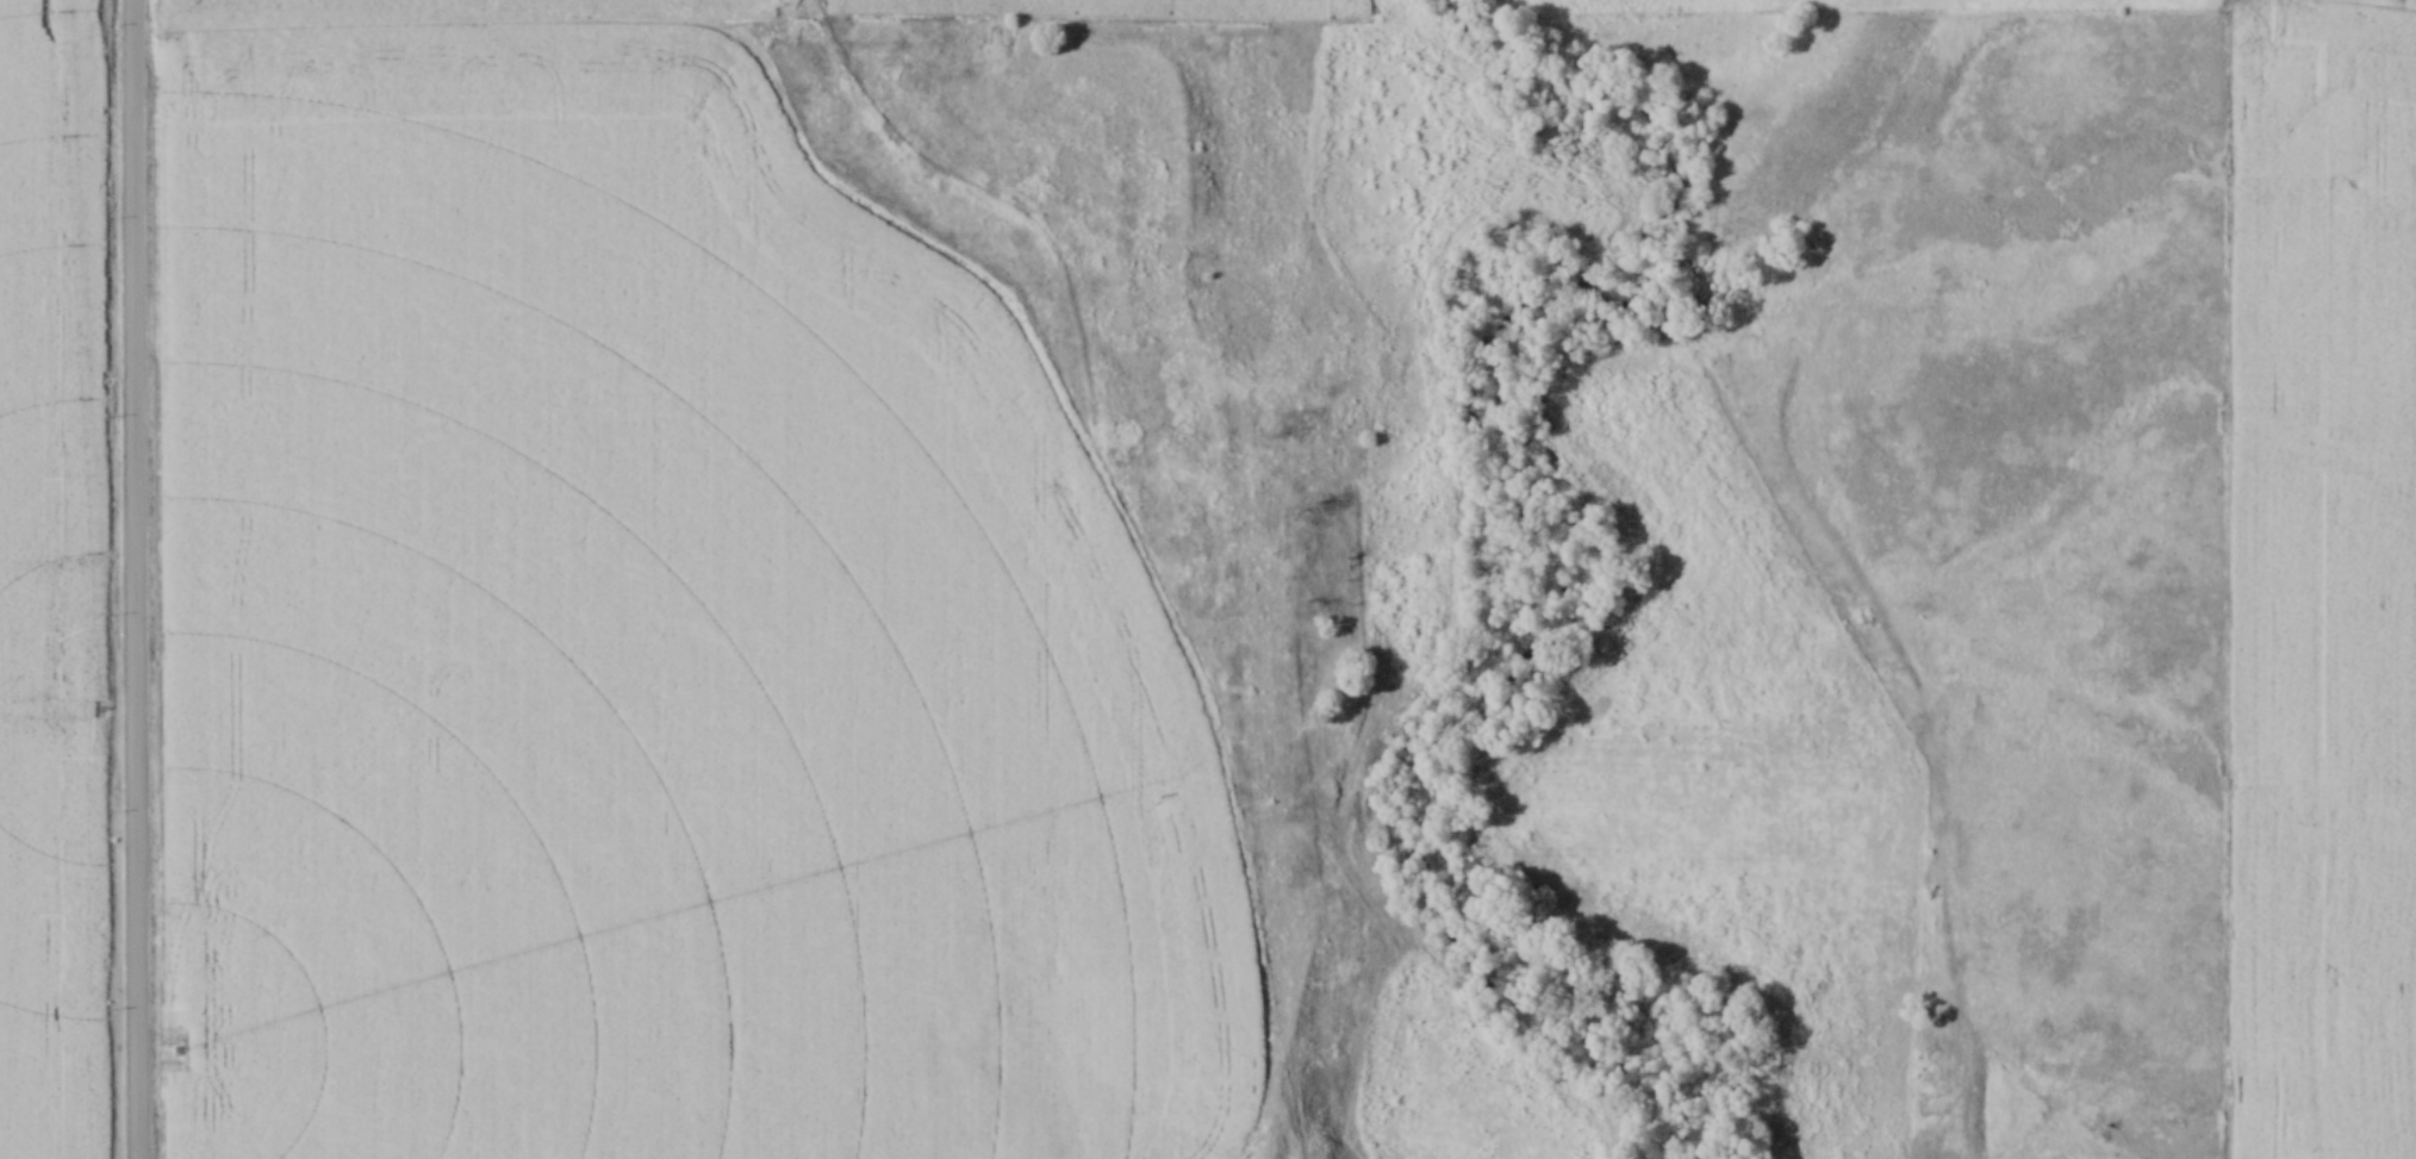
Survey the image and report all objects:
road: (129, 579)

